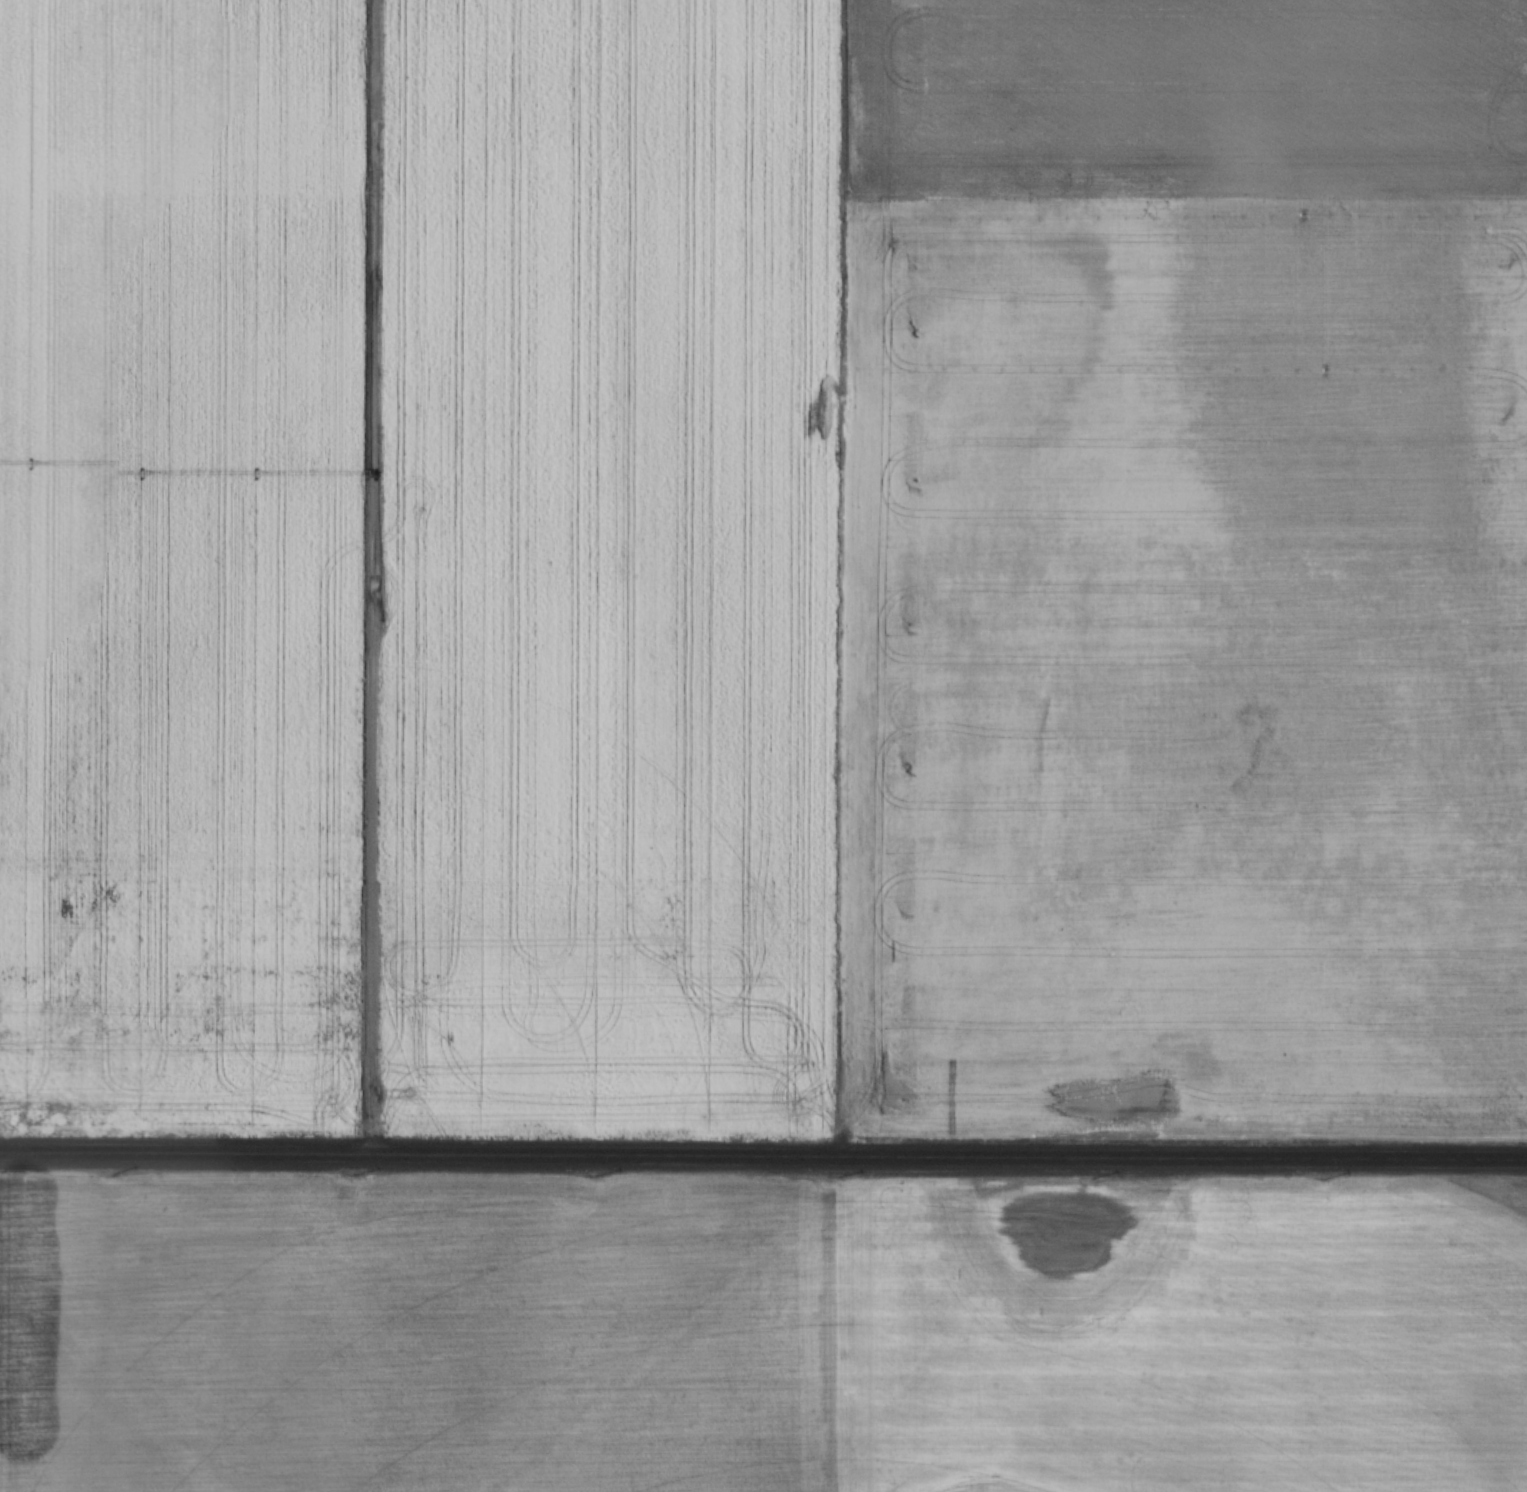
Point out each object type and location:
road: (763, 1158)

